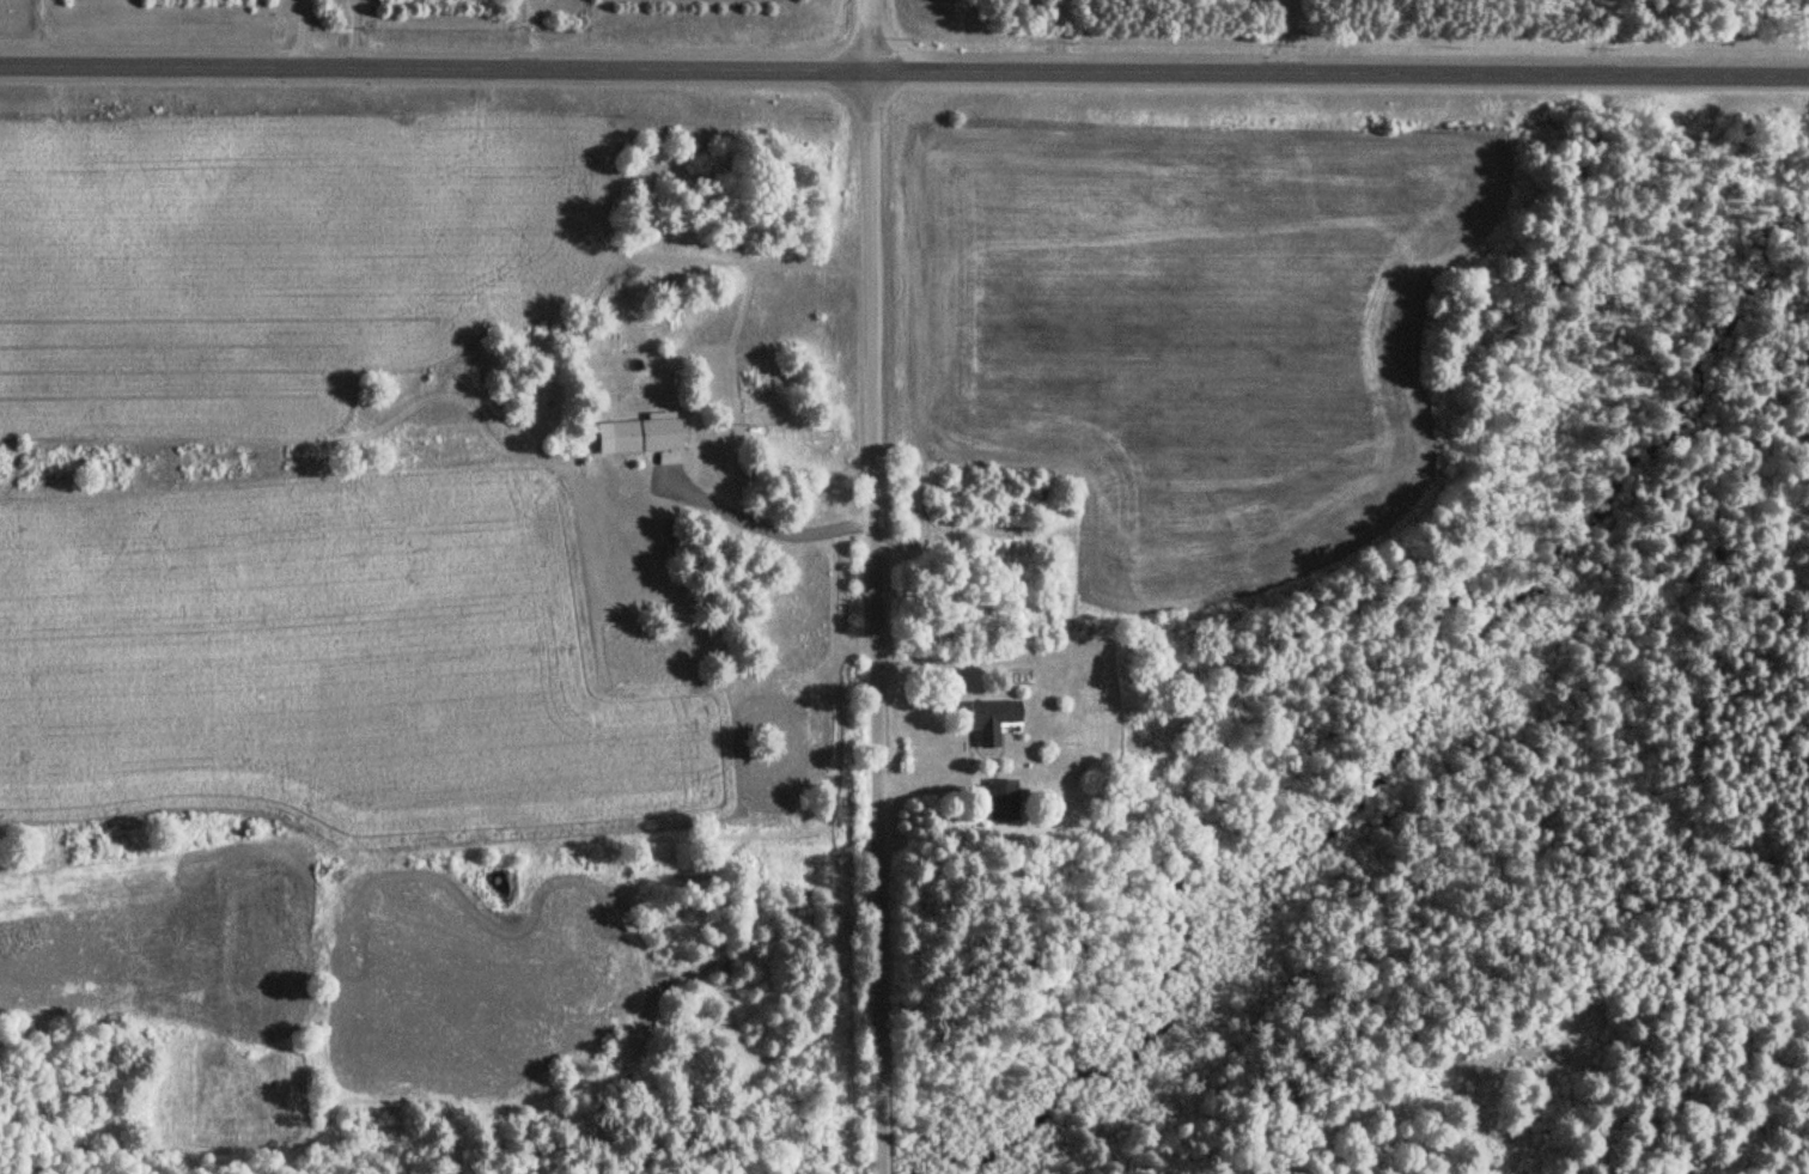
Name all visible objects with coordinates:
road: (904, 67)
road: (872, 586)
building: (988, 719)
building: (1001, 801)

